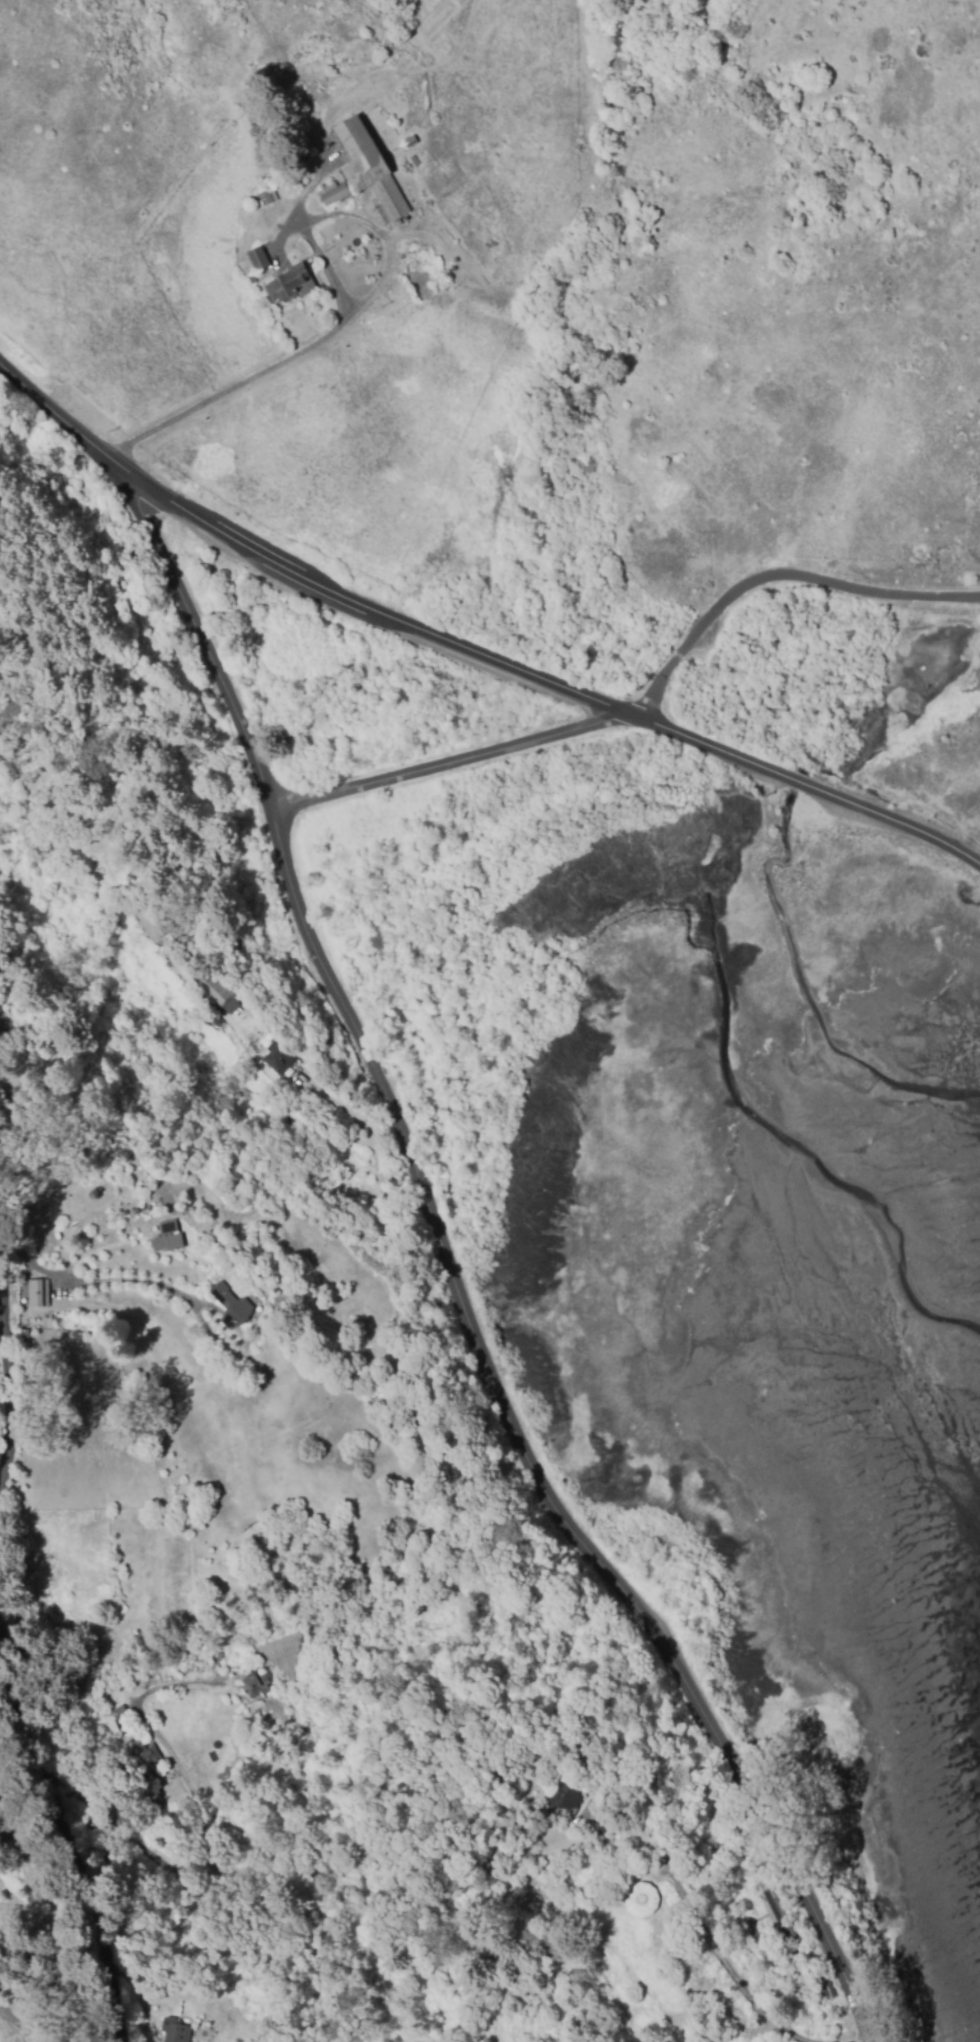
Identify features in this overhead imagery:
building: (408, 141)
building: (413, 160)
building: (368, 170)
building: (293, 181)
building: (332, 192)
building: (266, 195)
building: (258, 259)
building: (250, 278)
building: (290, 284)
road: (221, 384)
road: (68, 425)
road: (776, 576)
road: (383, 616)
road: (199, 643)
road: (451, 764)
road: (811, 788)
building: (217, 989)
building: (276, 1058)
building: (167, 1237)
building: (36, 1293)
building: (231, 1307)
road: (15, 1372)
road: (523, 1447)
building: (254, 1685)
building: (148, 1769)
building: (564, 1796)
road: (77, 1838)
building: (640, 1899)
building: (776, 1916)
building: (173, 2030)

